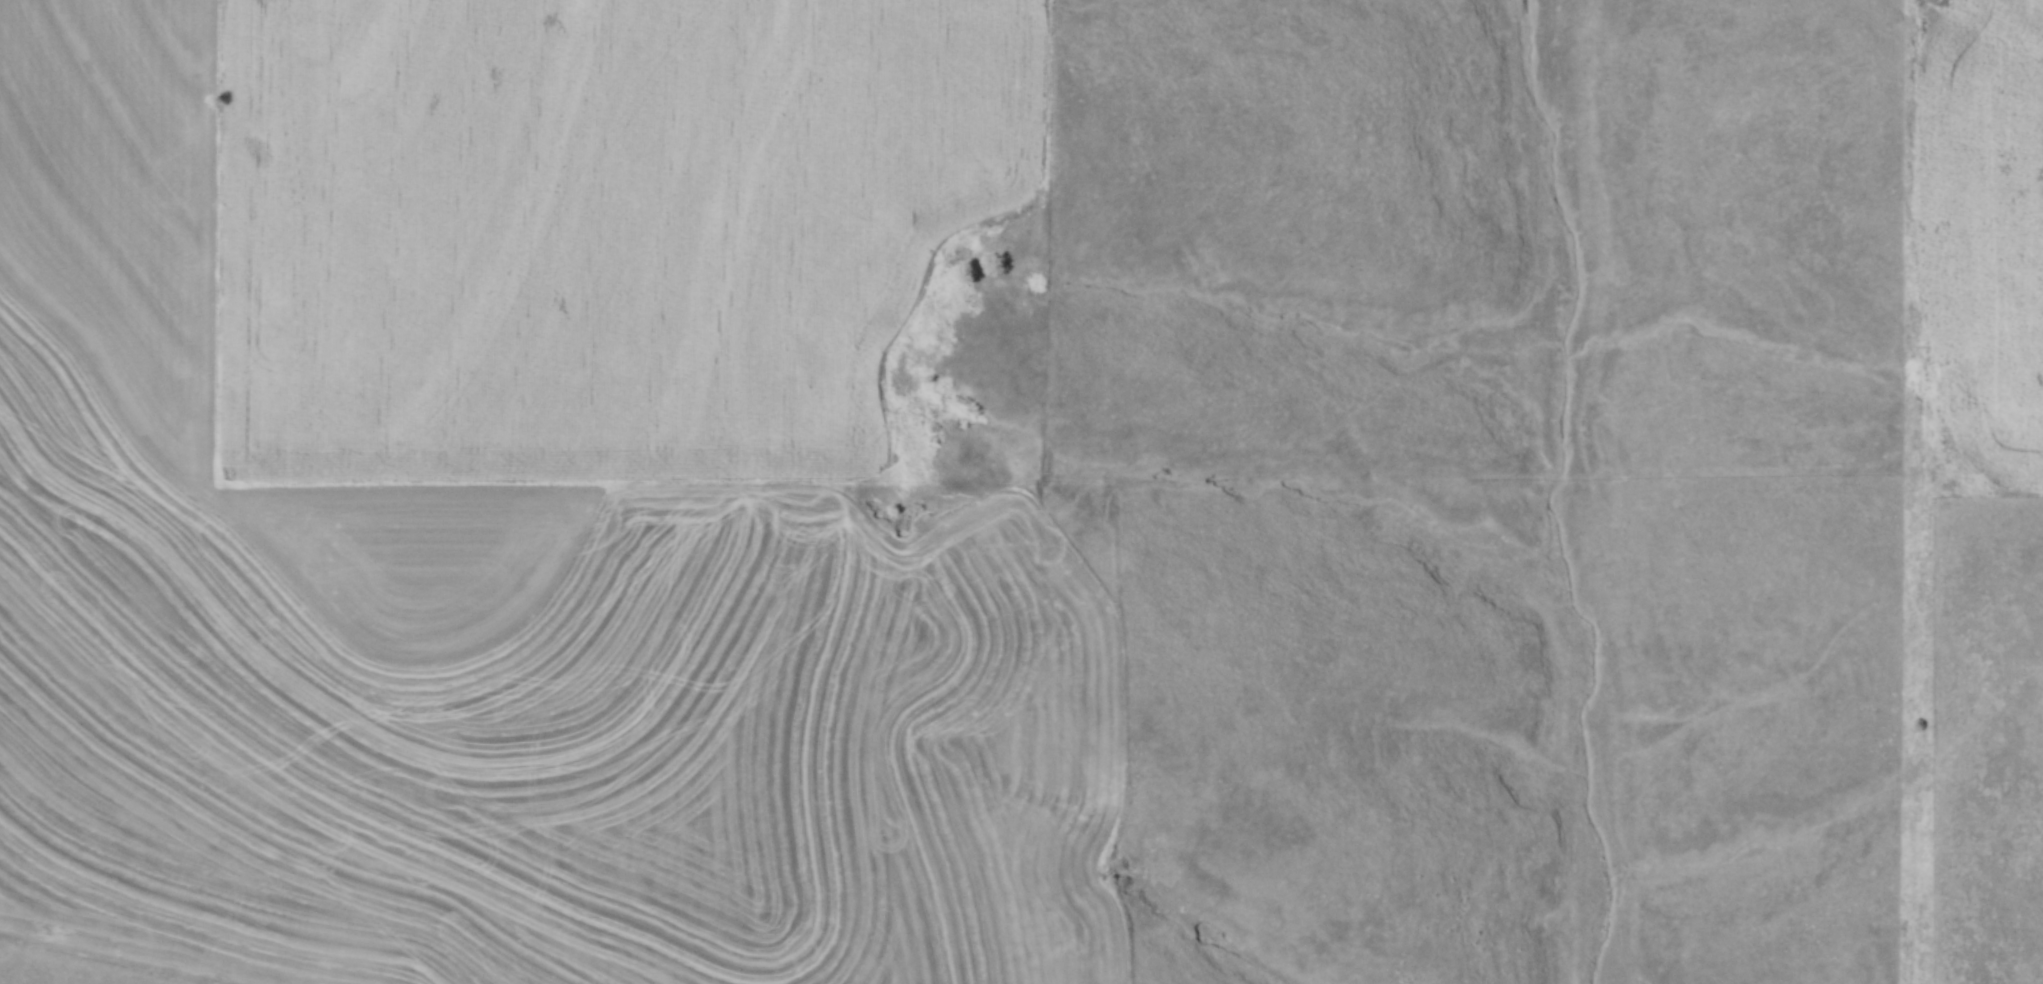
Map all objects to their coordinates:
crop: (1983, 235)

